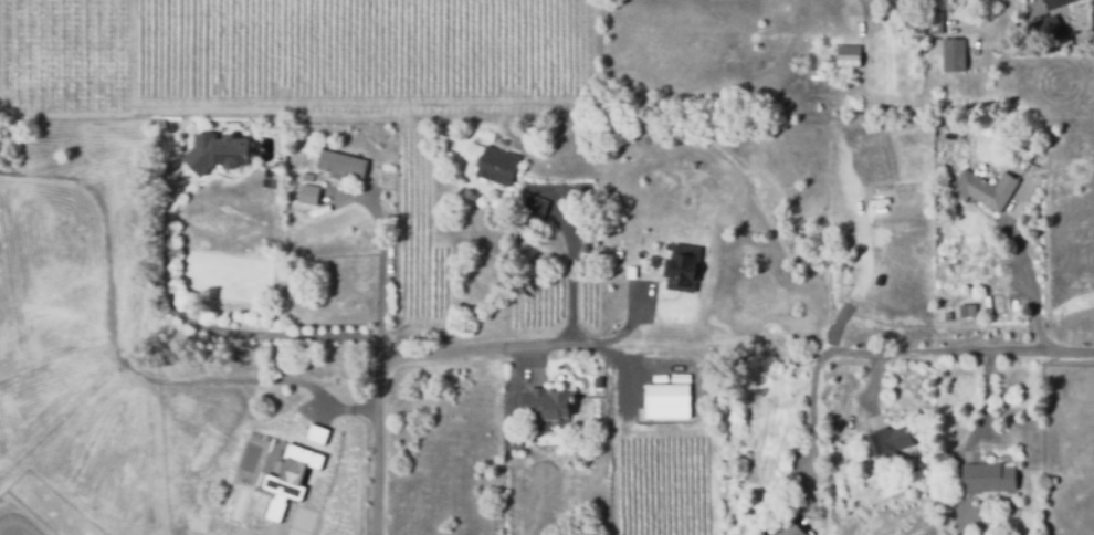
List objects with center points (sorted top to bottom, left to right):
road: (1014, 19)
building: (1046, 20)
building: (932, 21)
building: (951, 53)
building: (849, 55)
building: (215, 158)
building: (343, 165)
building: (497, 170)
building: (308, 174)
building: (983, 189)
building: (308, 198)
building: (530, 207)
road: (380, 251)
road: (570, 254)
building: (682, 264)
road: (1029, 283)
building: (987, 304)
building: (970, 311)
road: (344, 339)
road: (908, 350)
road: (666, 353)
road: (56, 355)
road: (118, 364)
building: (597, 381)
building: (666, 399)
road: (986, 406)
building: (547, 410)
building: (589, 422)
road: (810, 431)
building: (317, 433)
building: (588, 434)
road: (377, 441)
building: (890, 441)
building: (725, 474)
building: (290, 478)
building: (986, 479)
building: (791, 529)

